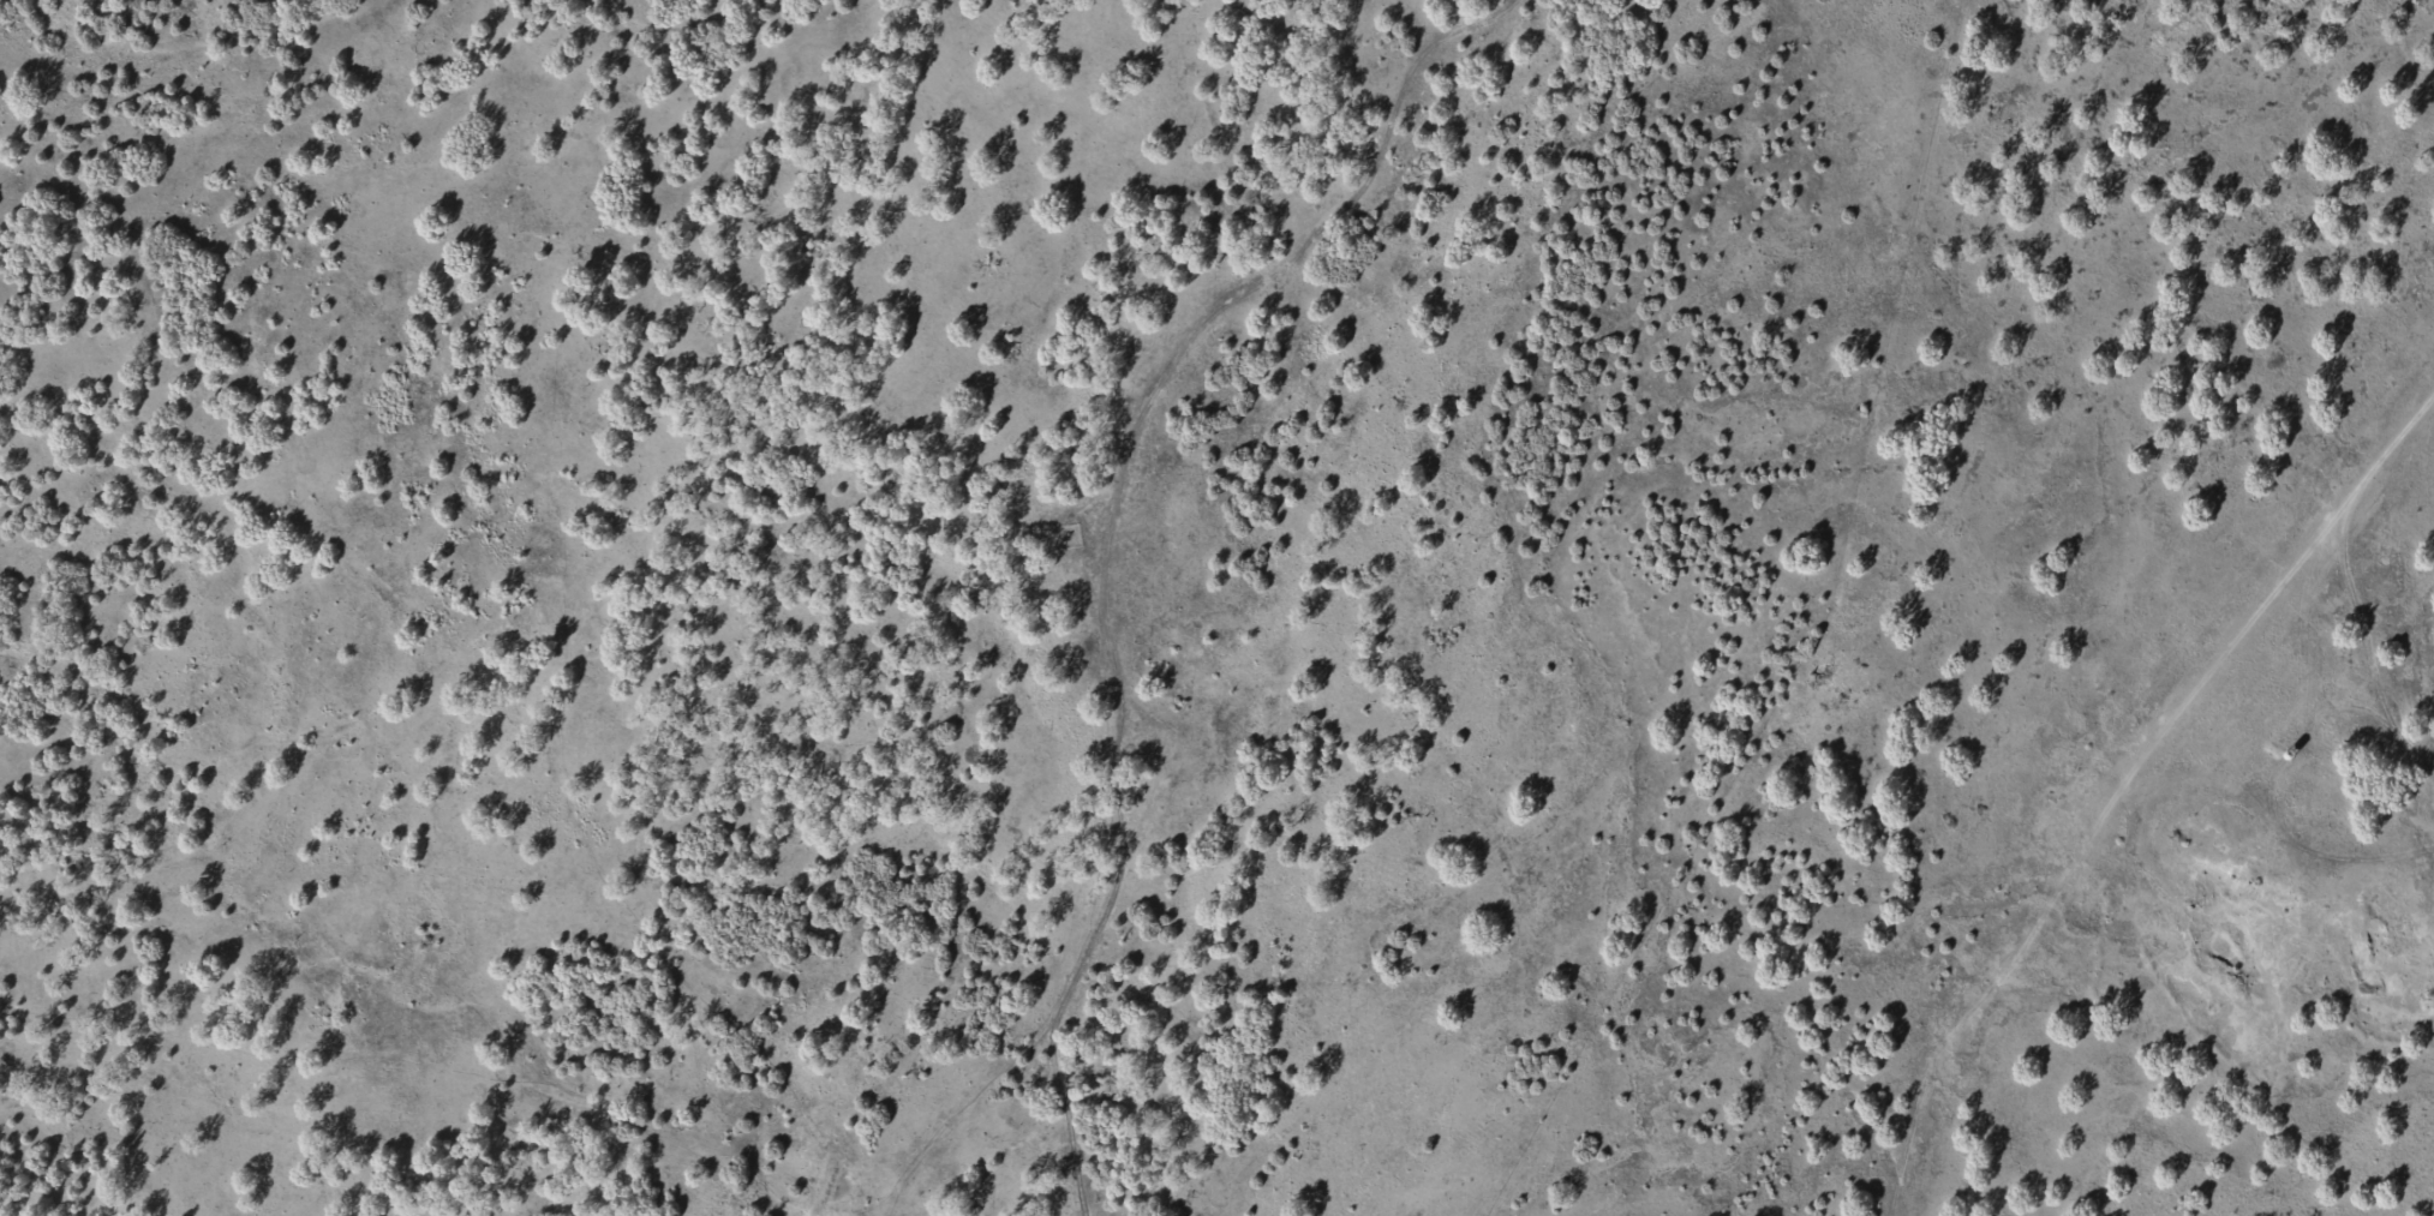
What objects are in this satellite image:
airport runway: (2200, 688)
road: (2367, 871)

